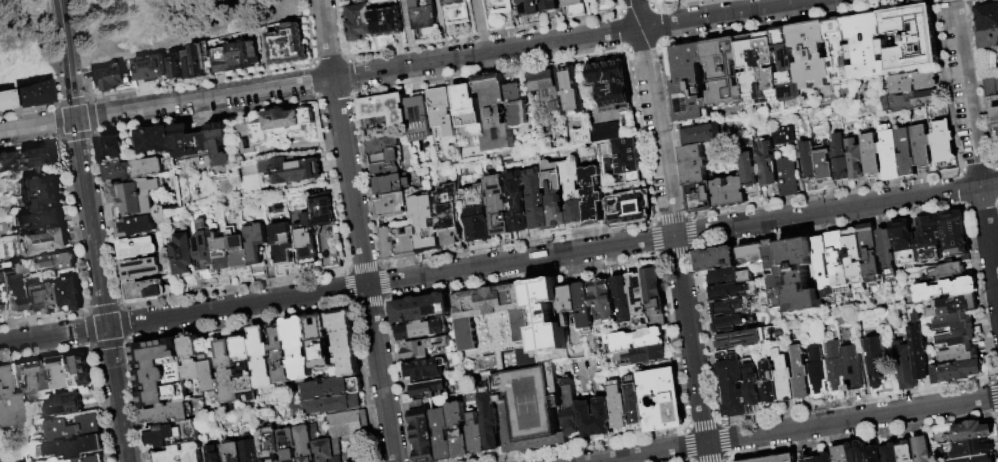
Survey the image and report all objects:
building: (502, 1)
building: (453, 3)
building: (551, 5)
building: (604, 6)
building: (575, 9)
building: (532, 11)
building: (423, 16)
road: (61, 21)
building: (360, 23)
building: (388, 23)
road: (483, 26)
building: (988, 27)
park: (115, 31)
road: (408, 32)
road: (327, 39)
road: (36, 40)
building: (913, 40)
building: (289, 46)
building: (867, 48)
building: (207, 51)
building: (811, 55)
building: (839, 55)
building: (236, 59)
building: (196, 63)
road: (409, 65)
building: (786, 66)
building: (178, 67)
building: (151, 69)
building: (760, 70)
building: (607, 73)
building: (725, 75)
building: (108, 78)
road: (69, 81)
building: (912, 83)
building: (690, 87)
building: (992, 89)
building: (547, 90)
building: (30, 93)
building: (573, 94)
building: (615, 98)
building: (5, 99)
building: (910, 102)
building: (993, 102)
building: (517, 106)
road: (38, 107)
building: (467, 107)
building: (385, 111)
building: (442, 112)
building: (496, 113)
building: (419, 119)
building: (994, 119)
building: (290, 122)
road: (91, 133)
building: (606, 134)
building: (263, 135)
building: (580, 136)
building: (702, 136)
building: (995, 136)
building: (782, 137)
building: (249, 139)
building: (192, 141)
building: (156, 142)
road: (29, 144)
building: (943, 144)
building: (385, 146)
building: (921, 147)
building: (113, 148)
building: (224, 150)
road: (974, 150)
building: (997, 151)
building: (906, 153)
building: (890, 155)
building: (872, 156)
building: (38, 158)
building: (385, 158)
building: (626, 159)
building: (840, 160)
building: (856, 160)
building: (8, 163)
building: (766, 165)
building: (824, 167)
building: (150, 168)
building: (809, 168)
building: (387, 170)
building: (292, 172)
building: (749, 172)
building: (118, 174)
building: (787, 178)
building: (697, 180)
building: (392, 185)
building: (572, 192)
building: (729, 193)
building: (150, 194)
building: (553, 194)
building: (55, 195)
building: (592, 196)
building: (128, 199)
building: (536, 199)
building: (516, 202)
building: (393, 206)
building: (497, 206)
building: (629, 209)
building: (323, 214)
building: (448, 214)
building: (476, 214)
building: (40, 221)
road: (90, 223)
building: (426, 224)
building: (136, 228)
road: (672, 230)
building: (955, 236)
building: (306, 240)
building: (930, 240)
building: (43, 243)
building: (257, 243)
building: (389, 244)
building: (407, 244)
building: (906, 244)
building: (283, 245)
building: (139, 249)
building: (208, 250)
building: (225, 250)
building: (241, 250)
building: (187, 255)
road: (552, 255)
building: (752, 255)
building: (888, 255)
building: (716, 260)
building: (855, 260)
building: (872, 260)
building: (332, 261)
building: (54, 264)
building: (840, 264)
building: (142, 270)
road: (364, 270)
building: (823, 270)
building: (943, 273)
building: (777, 276)
building: (801, 276)
building: (731, 278)
building: (11, 286)
building: (946, 291)
building: (148, 292)
building: (734, 293)
building: (70, 295)
building: (655, 297)
building: (31, 298)
building: (624, 299)
building: (50, 300)
building: (604, 300)
building: (2, 302)
building: (639, 303)
building: (568, 304)
building: (954, 307)
building: (421, 309)
building: (728, 309)
building: (585, 310)
building: (492, 313)
building: (547, 322)
building: (954, 323)
building: (728, 325)
building: (423, 330)
road: (53, 335)
building: (956, 339)
building: (636, 340)
building: (742, 340)
building: (320, 342)
building: (344, 343)
building: (299, 348)
building: (425, 349)
building: (919, 353)
building: (281, 355)
building: (960, 355)
building: (643, 356)
building: (263, 359)
building: (877, 363)
building: (202, 366)
building: (248, 367)
building: (905, 368)
building: (835, 369)
building: (853, 369)
building: (426, 370)
building: (81, 371)
building: (160, 372)
building: (818, 372)
building: (961, 372)
building: (62, 373)
building: (230, 373)
building: (800, 374)
building: (936, 376)
building: (784, 378)
building: (44, 379)
building: (502, 379)
building: (768, 381)
building: (25, 382)
building: (551, 385)
building: (752, 385)
building: (732, 386)
building: (332, 389)
building: (430, 390)
road: (118, 394)
park: (529, 398)
building: (662, 401)
building: (8, 404)
building: (333, 405)
building: (633, 405)
building: (67, 406)
building: (618, 407)
building: (570, 410)
building: (169, 414)
building: (595, 418)
building: (490, 423)
building: (348, 425)
building: (73, 429)
road: (794, 429)
building: (458, 431)
building: (973, 432)
building: (173, 435)
building: (423, 435)
building: (443, 435)
building: (475, 435)
building: (271, 444)
building: (306, 444)
building: (290, 445)
building: (974, 448)
building: (75, 449)
building: (923, 450)
building: (254, 451)
building: (329, 451)
building: (858, 452)
building: (906, 452)
building: (236, 453)
building: (891, 453)
building: (182, 454)
building: (842, 454)
building: (218, 455)
building: (874, 455)
building: (827, 458)
building: (97, 459)
building: (779, 459)
building: (978, 459)
building: (810, 460)
building: (81, 461)

